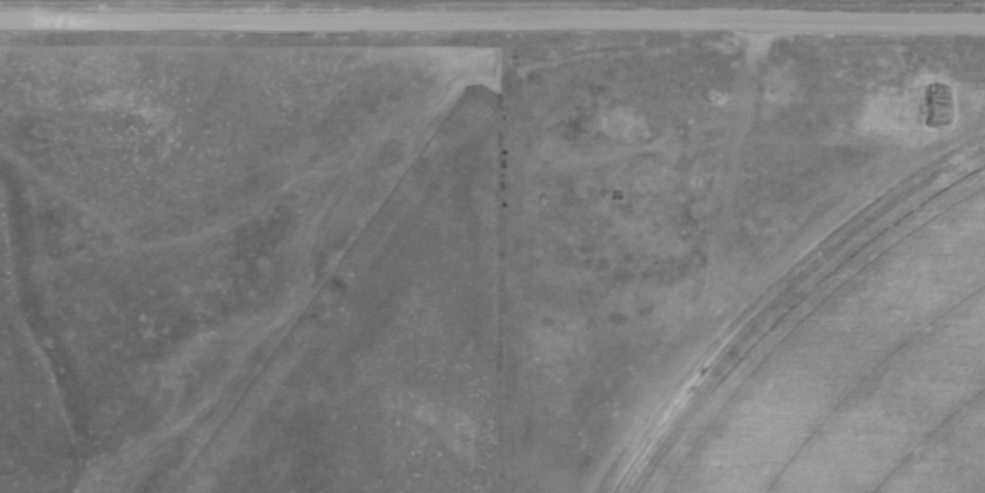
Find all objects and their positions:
road: (492, 17)
crop: (848, 361)

